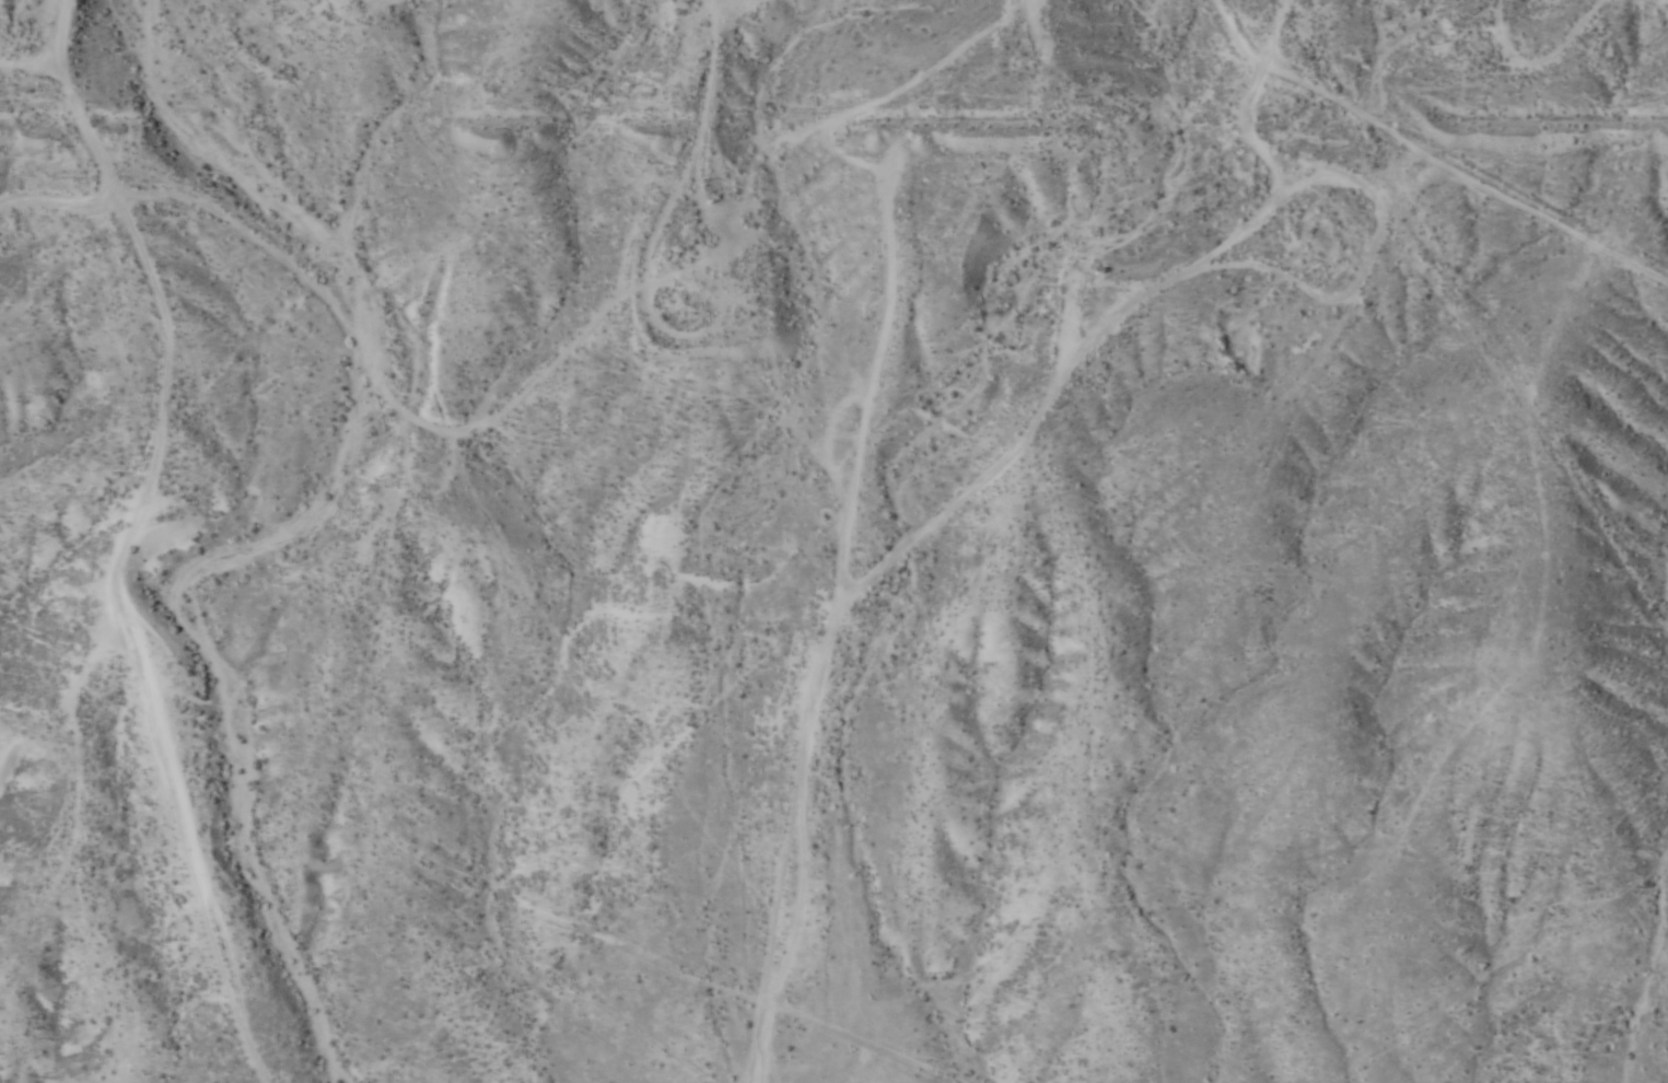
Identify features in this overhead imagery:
road: (1615, 7)
road: (80, 13)

